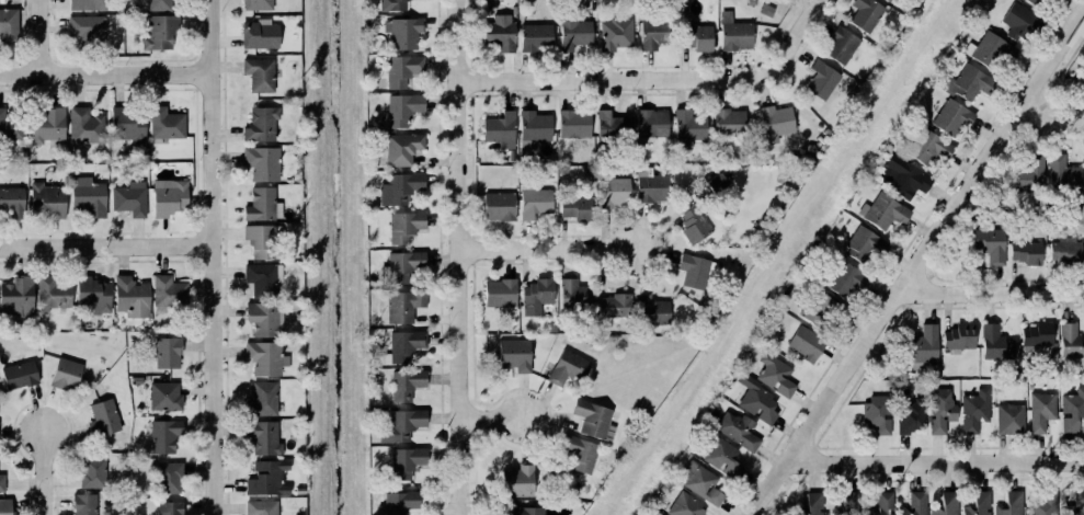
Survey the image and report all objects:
building: (1053, 0)
building: (890, 1)
building: (1034, 2)
building: (88, 4)
building: (258, 4)
building: (159, 5)
building: (392, 5)
building: (866, 14)
building: (1018, 22)
building: (9, 26)
building: (85, 30)
building: (161, 33)
building: (403, 33)
building: (501, 33)
building: (575, 34)
building: (616, 34)
building: (654, 34)
building: (735, 34)
building: (260, 35)
road: (41, 37)
building: (699, 37)
building: (536, 38)
building: (841, 46)
building: (991, 50)
building: (402, 70)
building: (260, 75)
road: (105, 76)
road: (663, 79)
building: (822, 80)
building: (970, 84)
building: (403, 110)
building: (952, 117)
road: (1046, 122)
building: (729, 123)
building: (776, 123)
building: (128, 124)
building: (167, 124)
building: (574, 124)
building: (651, 124)
building: (47, 125)
building: (262, 125)
building: (85, 126)
building: (612, 126)
building: (10, 127)
building: (688, 128)
building: (534, 129)
building: (501, 130)
building: (929, 148)
building: (403, 149)
building: (262, 163)
building: (1063, 173)
building: (1029, 175)
building: (903, 176)
building: (716, 183)
building: (651, 186)
building: (400, 188)
building: (614, 193)
building: (89, 197)
building: (169, 197)
building: (130, 199)
building: (47, 201)
building: (12, 202)
building: (535, 203)
building: (263, 206)
building: (499, 206)
building: (575, 208)
building: (885, 213)
building: (695, 226)
building: (404, 227)
building: (262, 242)
road: (106, 244)
building: (990, 245)
building: (865, 247)
building: (1066, 250)
road: (550, 253)
building: (1026, 253)
road: (213, 257)
road: (466, 257)
road: (916, 263)
building: (406, 266)
building: (696, 271)
building: (263, 279)
building: (846, 281)
road: (992, 289)
building: (169, 291)
building: (92, 293)
building: (500, 294)
building: (53, 295)
building: (574, 296)
building: (132, 297)
building: (536, 297)
building: (16, 298)
building: (404, 306)
building: (615, 306)
building: (821, 309)
building: (652, 311)
building: (264, 319)
building: (1038, 336)
building: (960, 337)
building: (1071, 341)
building: (803, 343)
building: (996, 344)
building: (406, 345)
building: (922, 347)
building: (168, 353)
building: (515, 355)
building: (265, 358)
building: (568, 368)
building: (66, 375)
building: (20, 376)
building: (776, 376)
building: (407, 385)
building: (166, 397)
building: (263, 400)
building: (758, 401)
building: (940, 410)
building: (975, 411)
building: (1042, 412)
building: (1072, 412)
road: (495, 415)
building: (877, 416)
building: (912, 416)
building: (103, 419)
building: (594, 420)
building: (1011, 420)
building: (402, 425)
building: (739, 431)
building: (164, 436)
building: (263, 438)
building: (581, 454)
building: (723, 458)
road: (933, 461)
building: (406, 462)
building: (93, 471)
road: (45, 472)
building: (170, 478)
building: (269, 479)
building: (518, 482)
building: (2, 483)
building: (701, 483)
building: (401, 503)
building: (813, 503)
building: (885, 503)
building: (84, 504)
building: (915, 504)
building: (947, 504)
building: (979, 504)
building: (1011, 504)
building: (1045, 504)
building: (1077, 504)
building: (683, 505)
building: (848, 505)
building: (5, 506)
building: (262, 507)
building: (170, 508)
building: (526, 511)
building: (658, 514)

